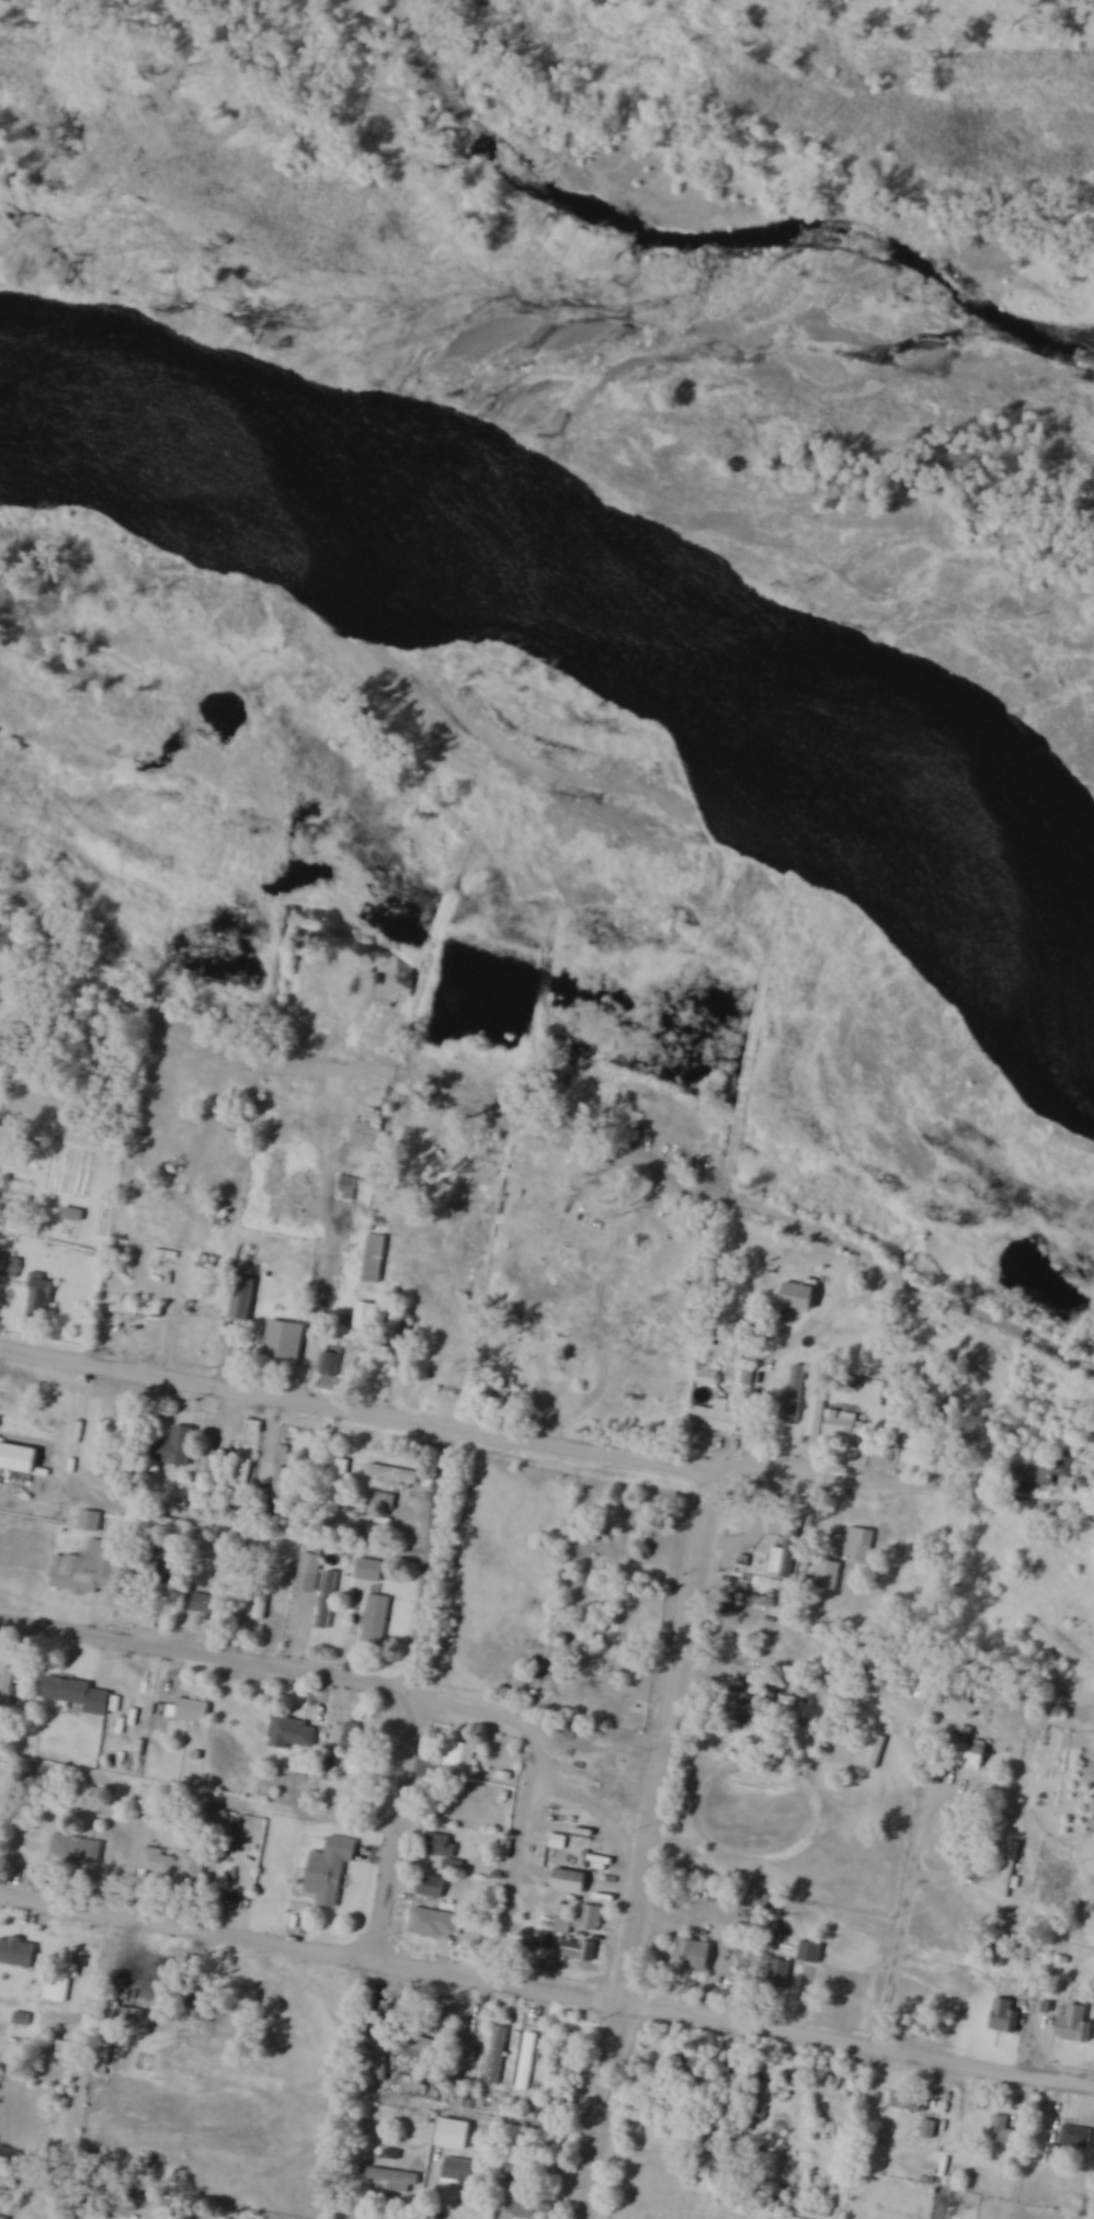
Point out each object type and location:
river: (593, 594)
building: (366, 1135)
building: (347, 1188)
building: (375, 1259)
building: (10, 1267)
building: (41, 1298)
building: (243, 1300)
building: (137, 1311)
road: (651, 1312)
building: (367, 1317)
building: (284, 1341)
building: (330, 1365)
building: (498, 1393)
building: (796, 1395)
building: (817, 1415)
building: (717, 1419)
building: (852, 1432)
building: (0, 1437)
road: (532, 1443)
building: (921, 1443)
building: (172, 1448)
building: (215, 1466)
building: (394, 1473)
building: (1030, 1479)
building: (242, 1481)
building: (285, 1484)
building: (335, 1484)
building: (385, 1502)
building: (90, 1522)
road: (243, 1530)
building: (832, 1537)
building: (861, 1544)
building: (368, 1569)
building: (88, 1570)
building: (308, 1573)
building: (828, 1575)
building: (328, 1601)
building: (206, 1605)
building: (375, 1621)
building: (624, 1626)
road: (204, 1652)
building: (5, 1691)
road: (408, 1694)
building: (77, 1696)
building: (192, 1711)
building: (744, 1716)
building: (295, 1733)
building: (822, 1742)
building: (356, 1743)
building: (971, 1755)
building: (461, 1757)
building: (330, 1768)
road: (525, 1793)
road: (197, 1795)
building: (214, 1817)
road: (649, 1842)
building: (78, 1850)
building: (445, 1853)
building: (601, 1864)
building: (173, 1867)
building: (1008, 1870)
building: (330, 1871)
building: (569, 1881)
building: (432, 1887)
road: (904, 1913)
building: (590, 1920)
building: (434, 1924)
building: (18, 1953)
building: (580, 1953)
building: (811, 1953)
building: (693, 1958)
building: (780, 1975)
building: (61, 1983)
road: (547, 1989)
building: (198, 2009)
building: (1005, 2017)
building: (141, 2019)
building: (1075, 2026)
building: (460, 2035)
building: (417, 2048)
building: (497, 2057)
building: (527, 2063)
building: (702, 2072)
building: (471, 2082)
building: (909, 2104)
building: (557, 2105)
road: (426, 2106)
building: (930, 2130)
building: (1003, 2135)
building: (454, 2136)
building: (1076, 2137)
building: (1052, 2154)
building: (510, 2171)
building: (467, 2175)
building: (394, 2181)
building: (528, 2207)

